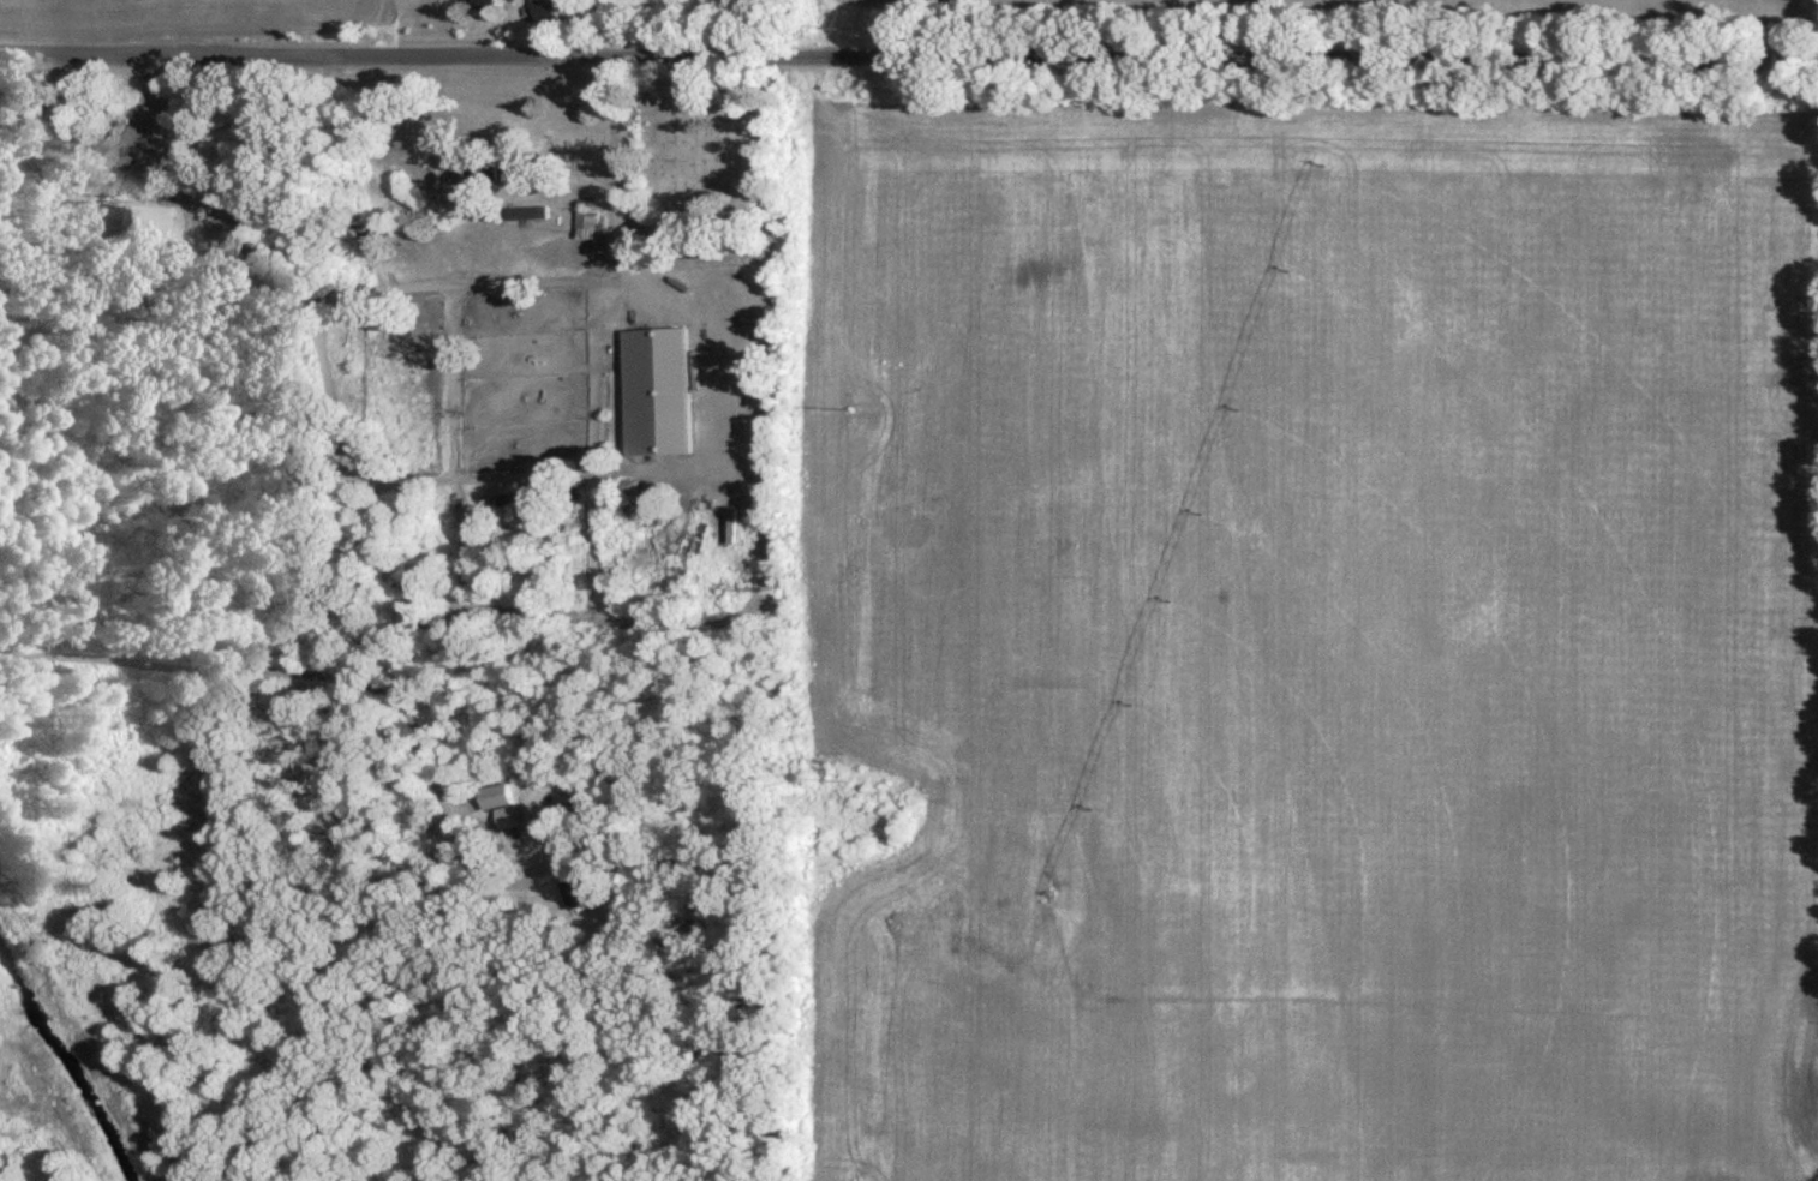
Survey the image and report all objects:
power tower: (855, 35)
road: (666, 56)
road: (1575, 58)
park: (722, 140)
building: (497, 164)
building: (526, 211)
building: (138, 220)
building: (591, 221)
building: (656, 389)
power tower: (856, 414)
power tower: (856, 787)
building: (497, 793)
building: (509, 815)

